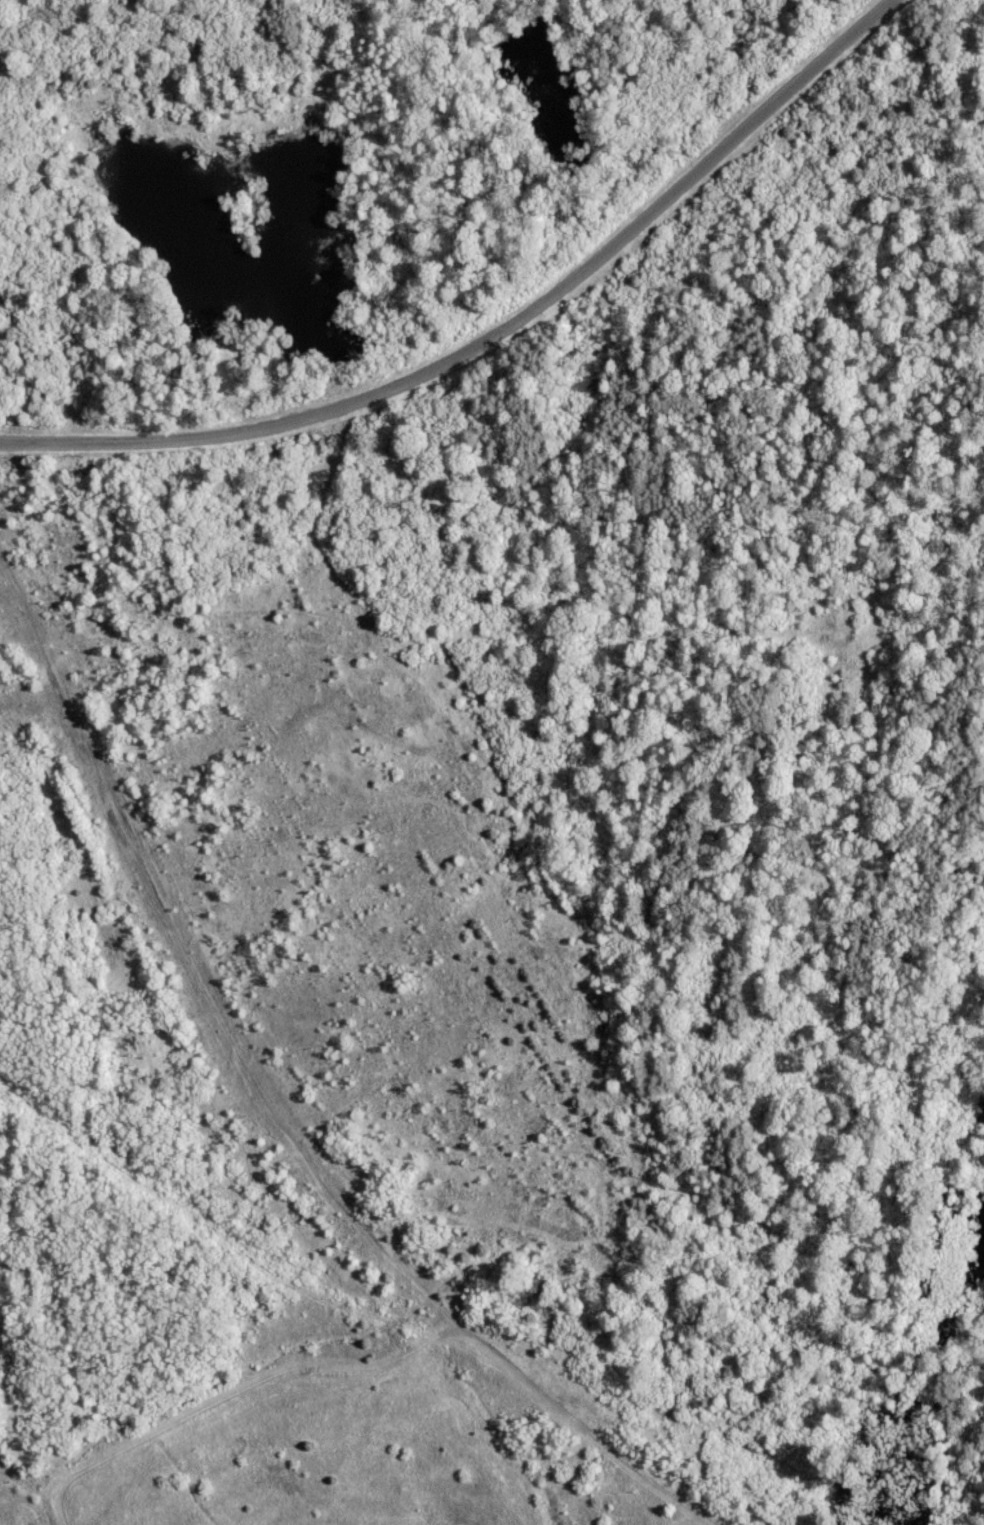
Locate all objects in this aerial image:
road: (525, 331)
road: (10, 448)

